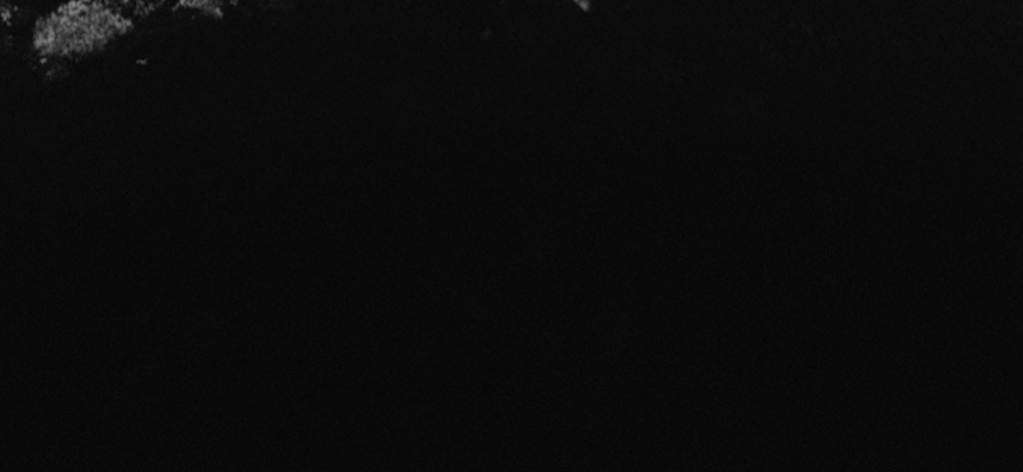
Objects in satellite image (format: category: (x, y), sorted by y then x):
crop: (1014, 2)
crop: (53, 9)

